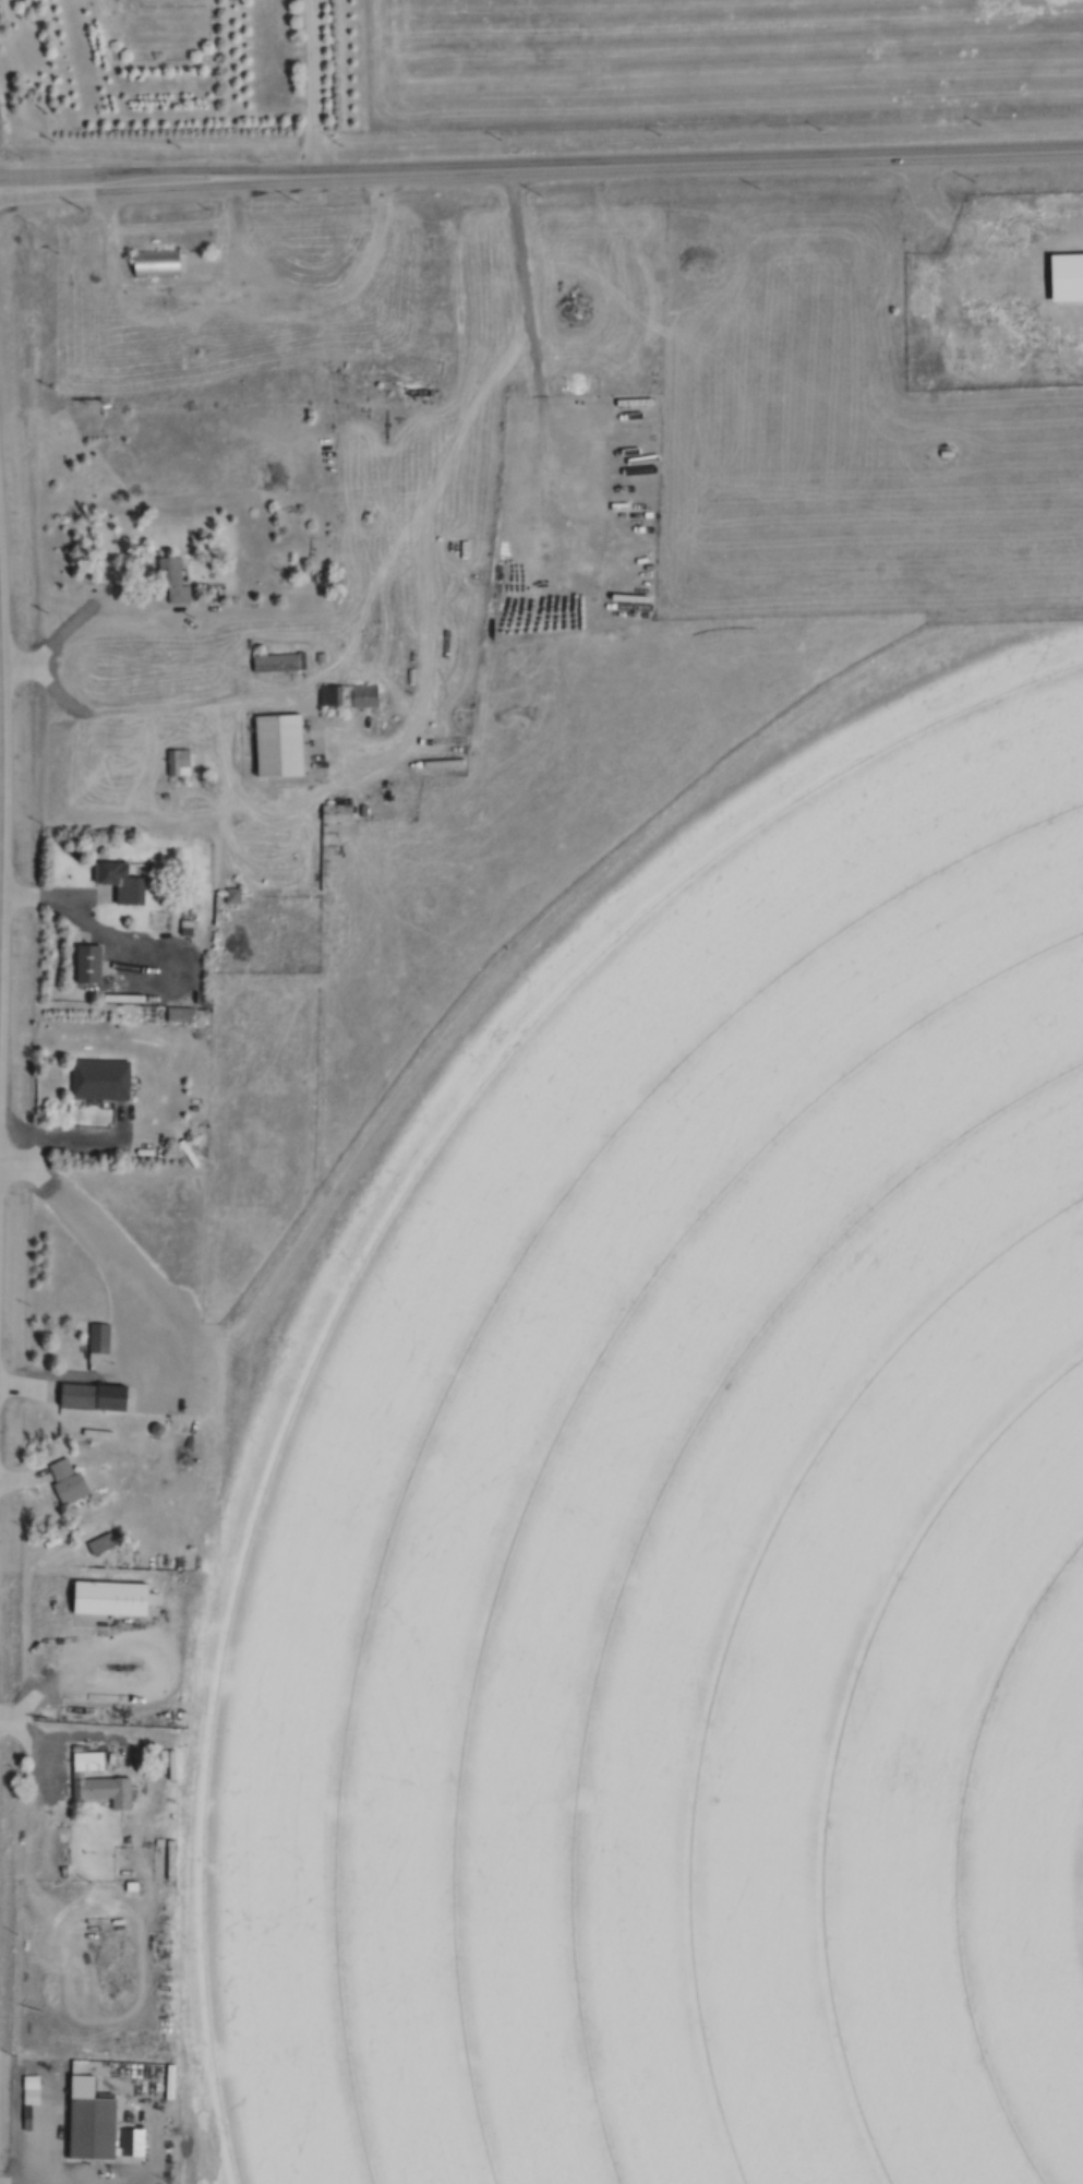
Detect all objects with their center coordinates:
road: (311, 79)
road: (699, 148)
road: (157, 154)
road: (157, 174)
road: (972, 223)
building: (157, 263)
building: (1069, 276)
building: (961, 366)
building: (626, 439)
road: (378, 568)
building: (175, 578)
road: (70, 598)
building: (278, 663)
building: (350, 695)
building: (282, 745)
building: (179, 763)
building: (121, 881)
road: (16, 929)
building: (89, 963)
building: (100, 1079)
building: (99, 1341)
building: (96, 1396)
building: (68, 1481)
building: (100, 1543)
building: (113, 1598)
building: (104, 1791)
building: (32, 2090)
building: (92, 2119)
building: (133, 2143)

